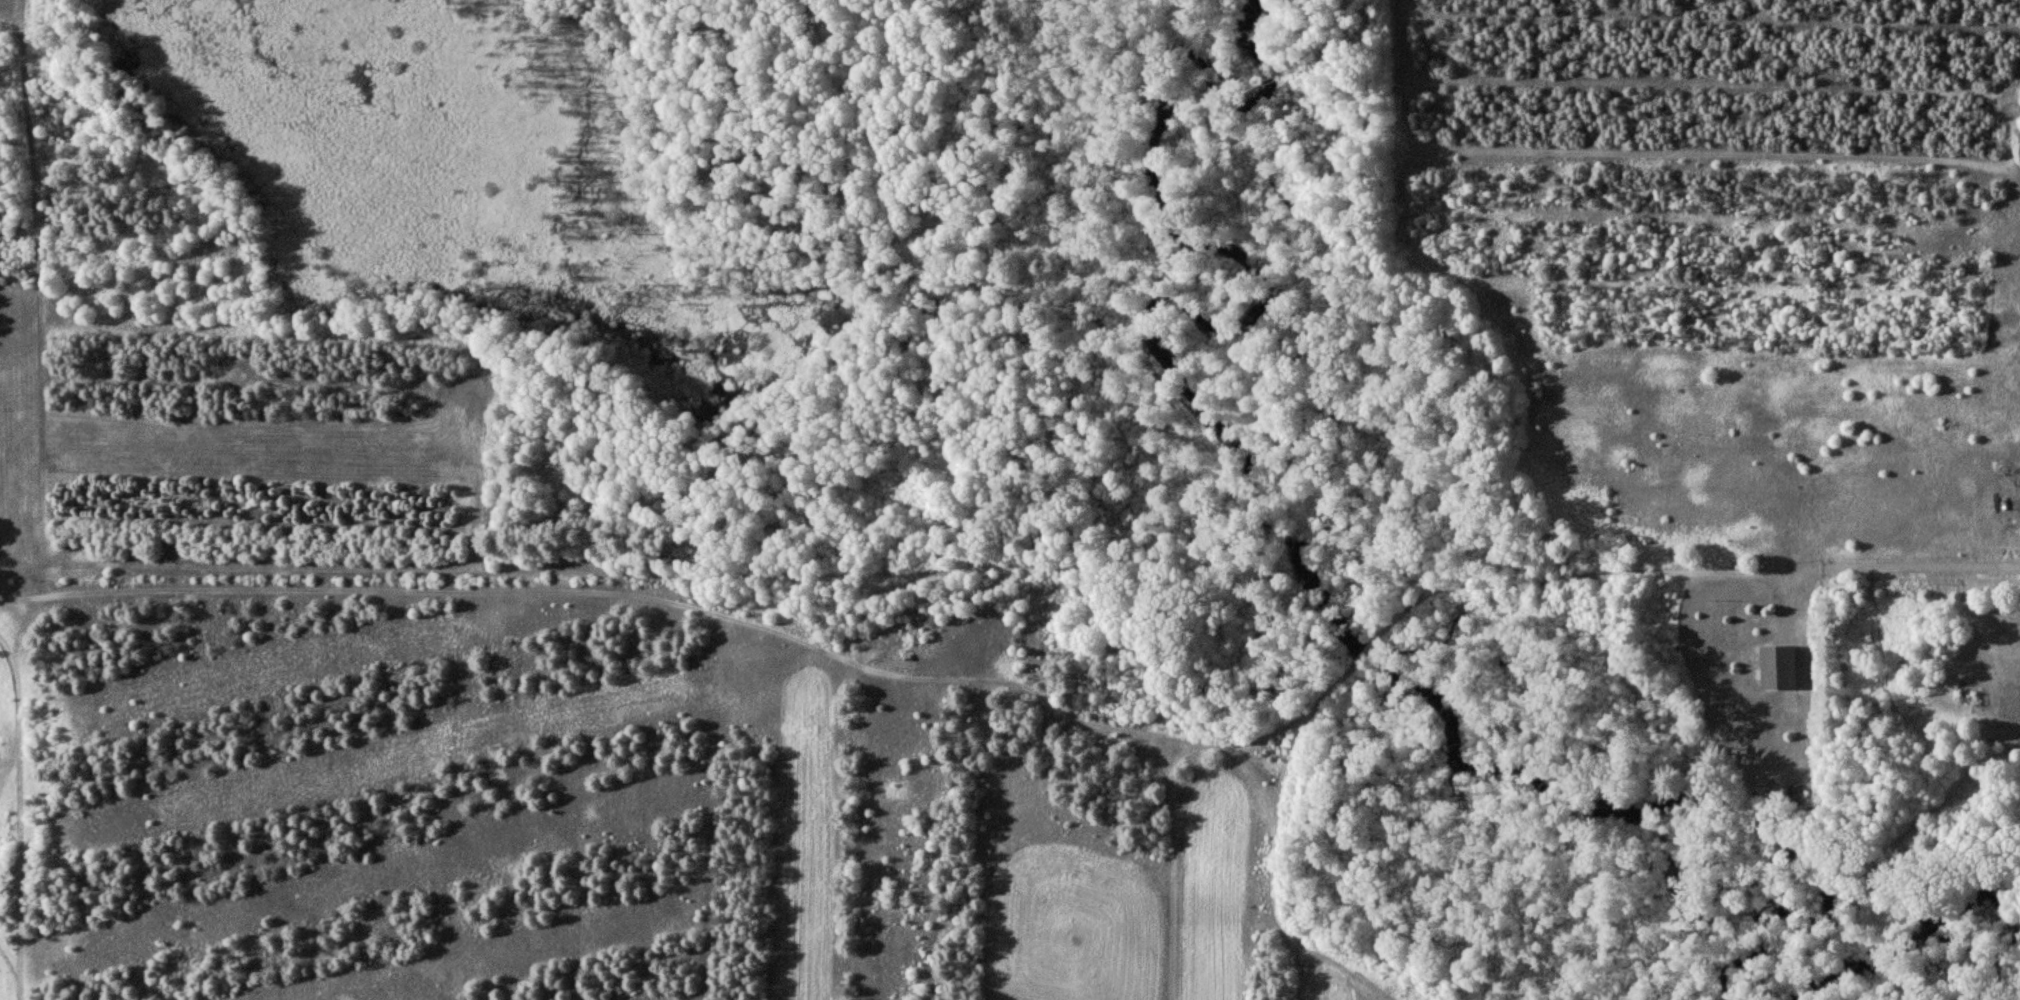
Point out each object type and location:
road: (42, 302)
building: (1780, 667)
road: (1041, 680)
building: (1797, 796)
road: (1273, 890)

